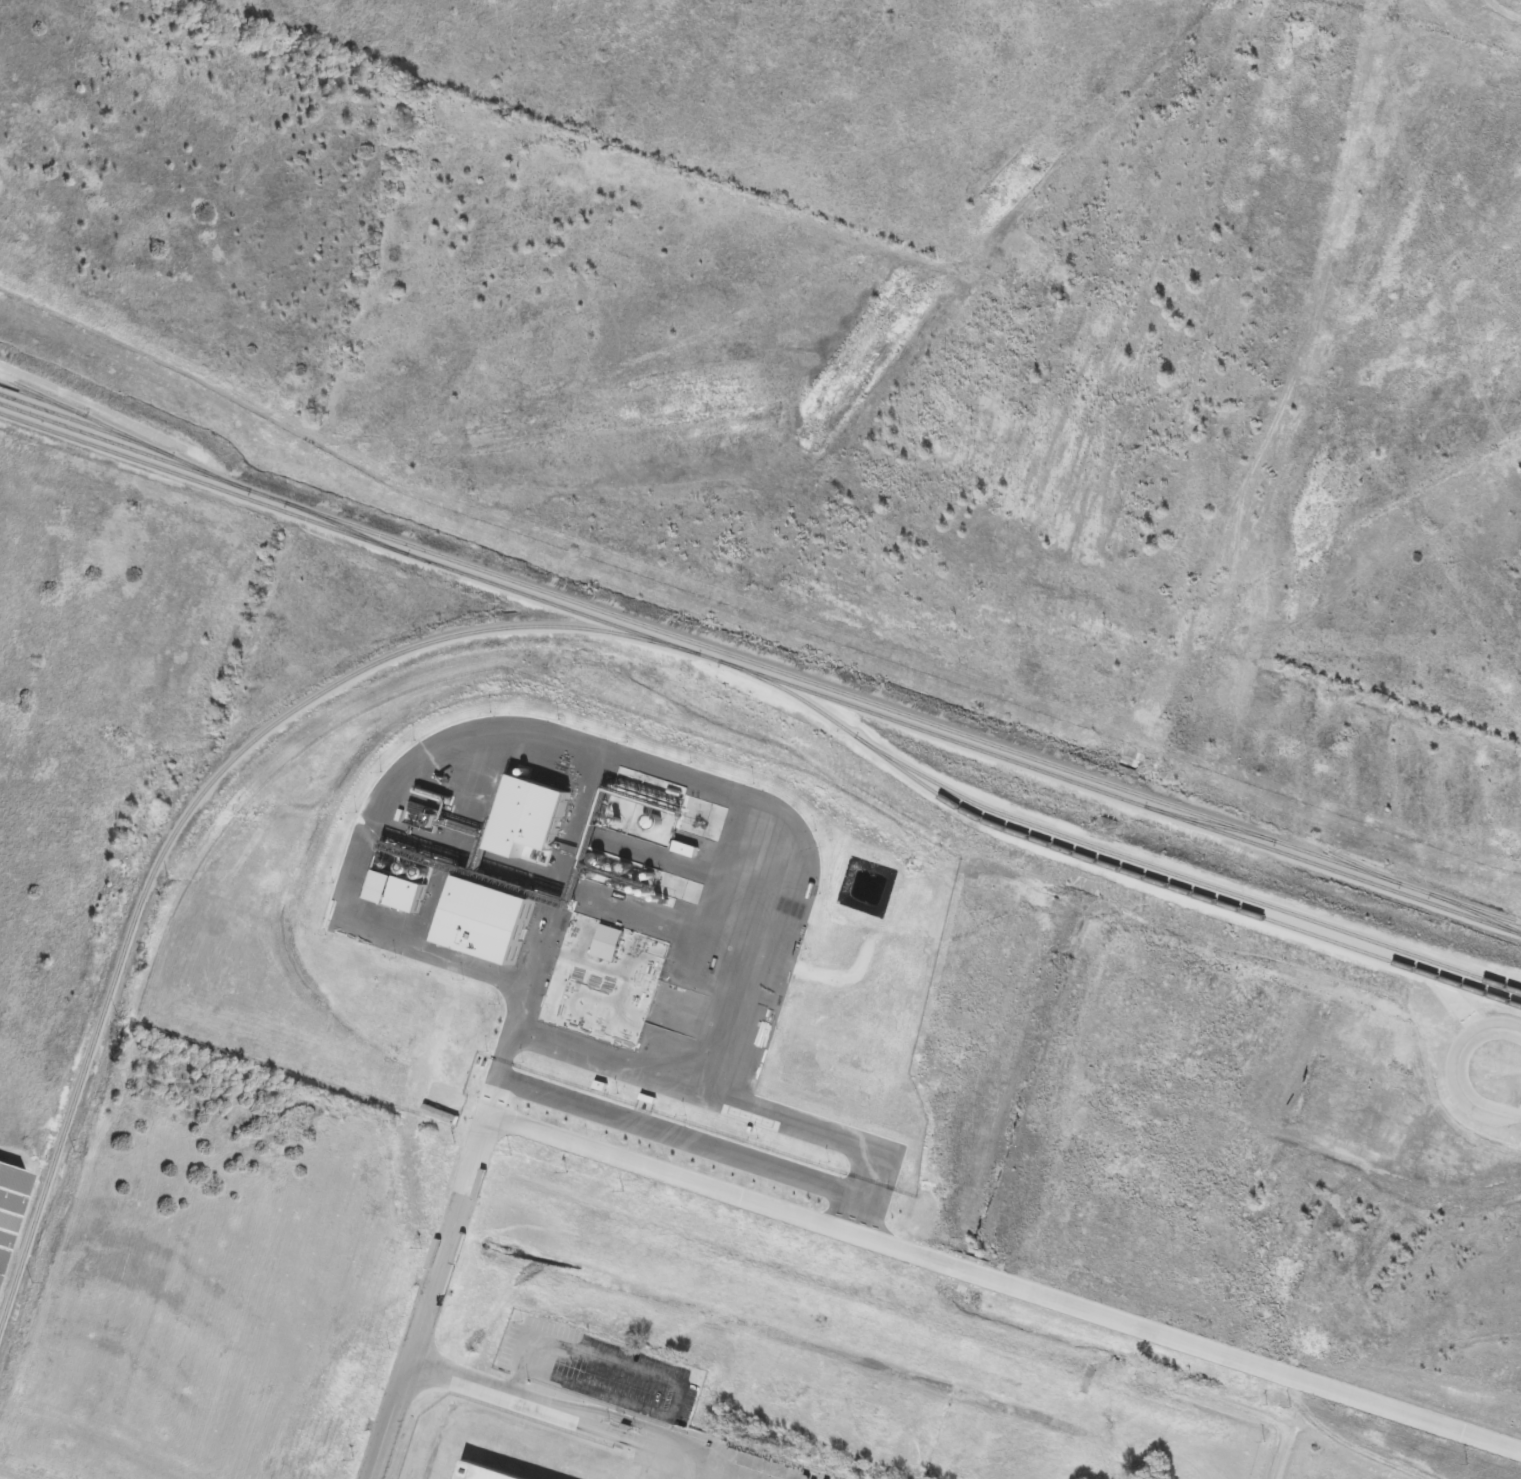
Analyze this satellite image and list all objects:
railway: (87, 417)
railway: (126, 439)
railway: (348, 528)
railway: (761, 664)
railway: (760, 674)
railway: (193, 808)
railway: (1208, 821)
railway: (1109, 851)
railway: (1359, 865)
railway: (1178, 890)
railway: (1477, 908)
building: (7, 1199)
road: (834, 1234)
road: (560, 1410)
road: (1286, 1460)
building: (503, 1471)

